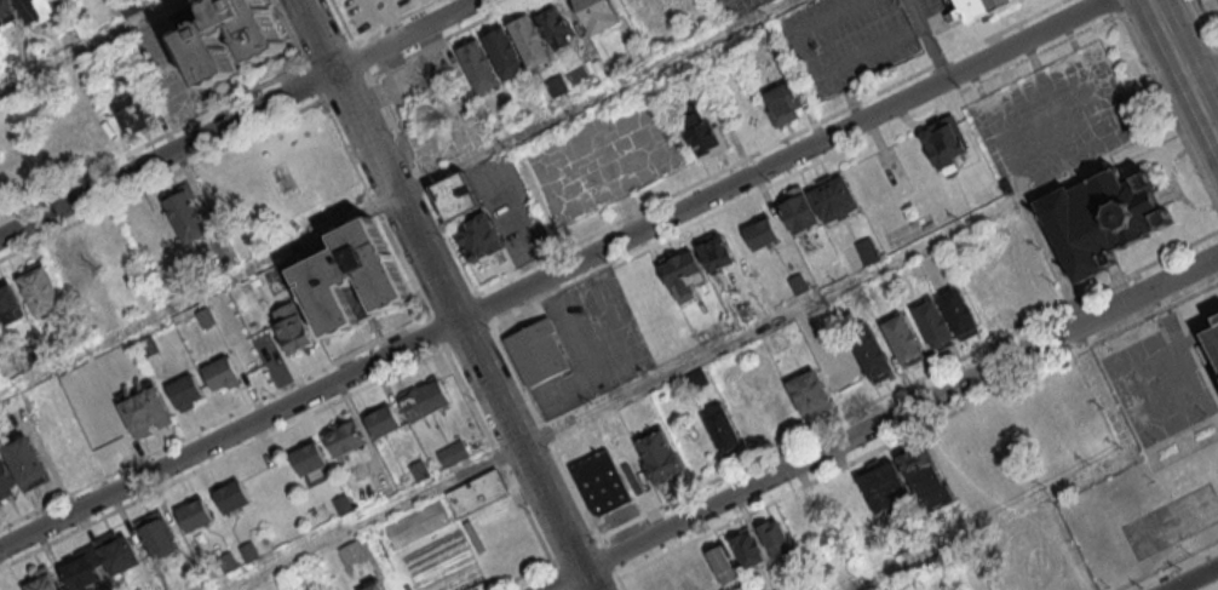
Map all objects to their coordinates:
building: (634, 4)
building: (131, 6)
parking lot: (933, 6)
parking lot: (933, 6)
parking lot: (362, 7)
parking lot: (739, 7)
road: (1118, 7)
building: (40, 10)
building: (982, 10)
parking lot: (1212, 11)
building: (7, 12)
building: (598, 13)
road: (340, 21)
road: (392, 21)
road: (1203, 25)
building: (556, 27)
road: (291, 33)
building: (225, 34)
road: (442, 38)
road: (927, 39)
building: (530, 41)
parking lot: (846, 41)
road: (90, 45)
road: (328, 52)
building: (505, 53)
road: (360, 58)
building: (479, 67)
road: (1184, 68)
parking lot: (168, 73)
road: (814, 73)
road: (314, 81)
building: (557, 86)
road: (344, 87)
road: (591, 94)
building: (785, 103)
parking lot: (436, 107)
building: (133, 109)
road: (1170, 114)
road: (240, 119)
parking lot: (1055, 119)
building: (706, 136)
road: (154, 141)
building: (944, 143)
road: (766, 144)
parking lot: (602, 155)
road: (806, 168)
road: (160, 177)
road: (420, 184)
building: (456, 197)
building: (834, 197)
road: (373, 207)
parking lot: (511, 210)
building: (798, 211)
building: (186, 213)
parking lot: (318, 214)
building: (1101, 219)
building: (762, 231)
building: (479, 236)
building: (867, 250)
building: (716, 253)
building: (74, 273)
road: (552, 274)
building: (683, 275)
building: (352, 277)
building: (799, 283)
building: (41, 291)
road: (444, 294)
road: (199, 296)
building: (8, 303)
road: (452, 304)
road: (483, 307)
building: (960, 313)
building: (206, 317)
road: (764, 323)
building: (935, 323)
building: (293, 330)
road: (436, 331)
road: (469, 333)
building: (903, 339)
building: (775, 340)
parking lot: (592, 344)
building: (149, 345)
building: (872, 351)
building: (1211, 351)
building: (540, 353)
building: (27, 362)
building: (222, 373)
building: (699, 378)
road: (907, 383)
parking lot: (1160, 385)
road: (1099, 389)
building: (185, 390)
building: (809, 393)
building: (1075, 394)
building: (425, 400)
building: (15, 402)
building: (146, 411)
building: (383, 422)
road: (879, 422)
road: (214, 423)
building: (724, 426)
road: (545, 431)
road: (918, 431)
building: (345, 436)
road: (496, 452)
building: (454, 453)
building: (661, 454)
road: (223, 456)
building: (310, 457)
building: (28, 460)
building: (420, 470)
building: (7, 479)
building: (926, 479)
building: (602, 483)
building: (884, 486)
building: (477, 492)
building: (231, 496)
building: (343, 505)
building: (195, 512)
park: (1187, 514)
road: (375, 517)
road: (990, 520)
building: (418, 523)
building: (157, 533)
park: (1143, 537)
building: (776, 538)
road: (573, 548)
crop: (430, 549)
building: (747, 549)
building: (248, 551)
building: (352, 551)
building: (119, 552)
road: (609, 560)
building: (228, 562)
building: (724, 566)
building: (85, 567)
road: (1174, 568)
road: (519, 574)
road: (557, 574)
road: (1194, 578)
building: (42, 579)
road: (608, 584)
road: (621, 584)
building: (373, 585)
road: (1217, 589)

